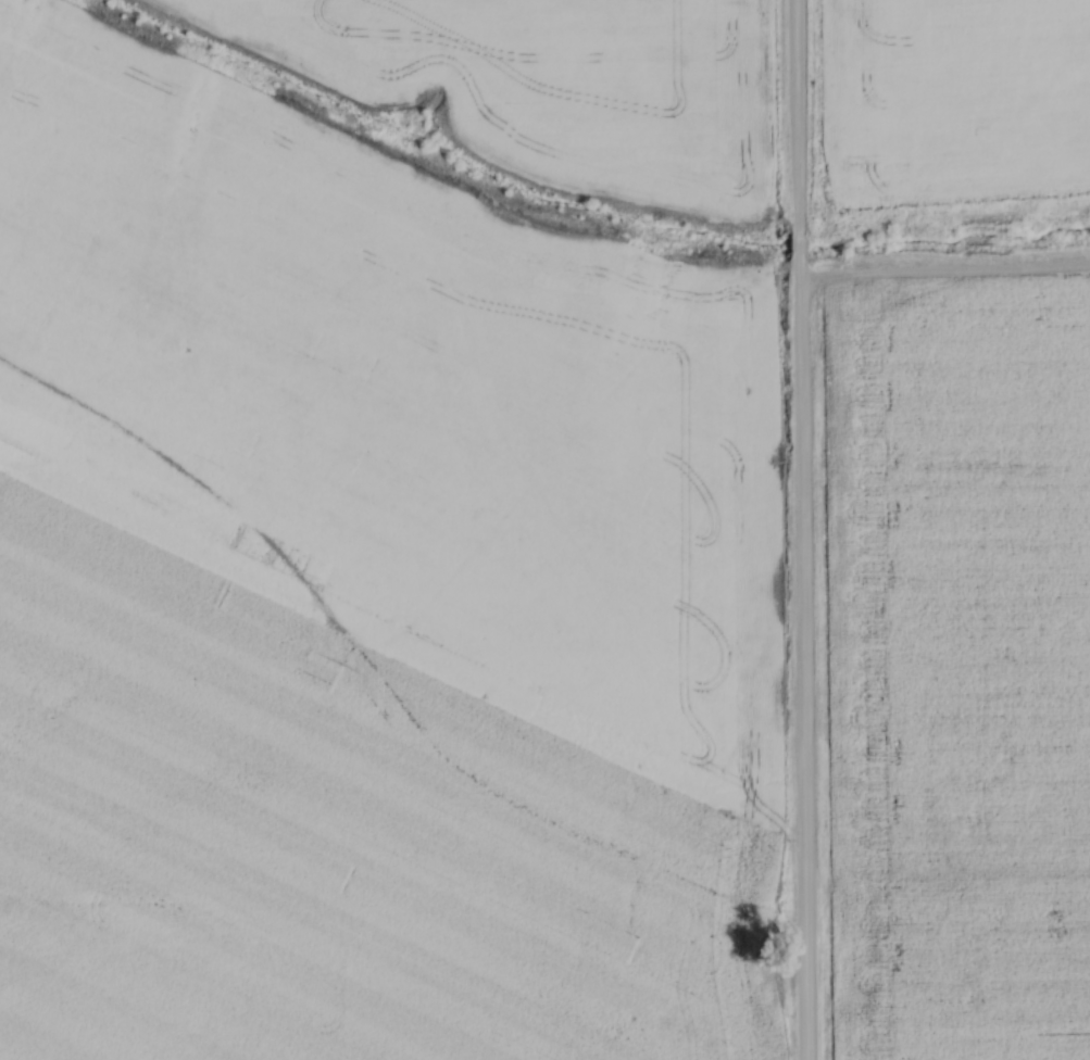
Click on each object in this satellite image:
road: (804, 530)

